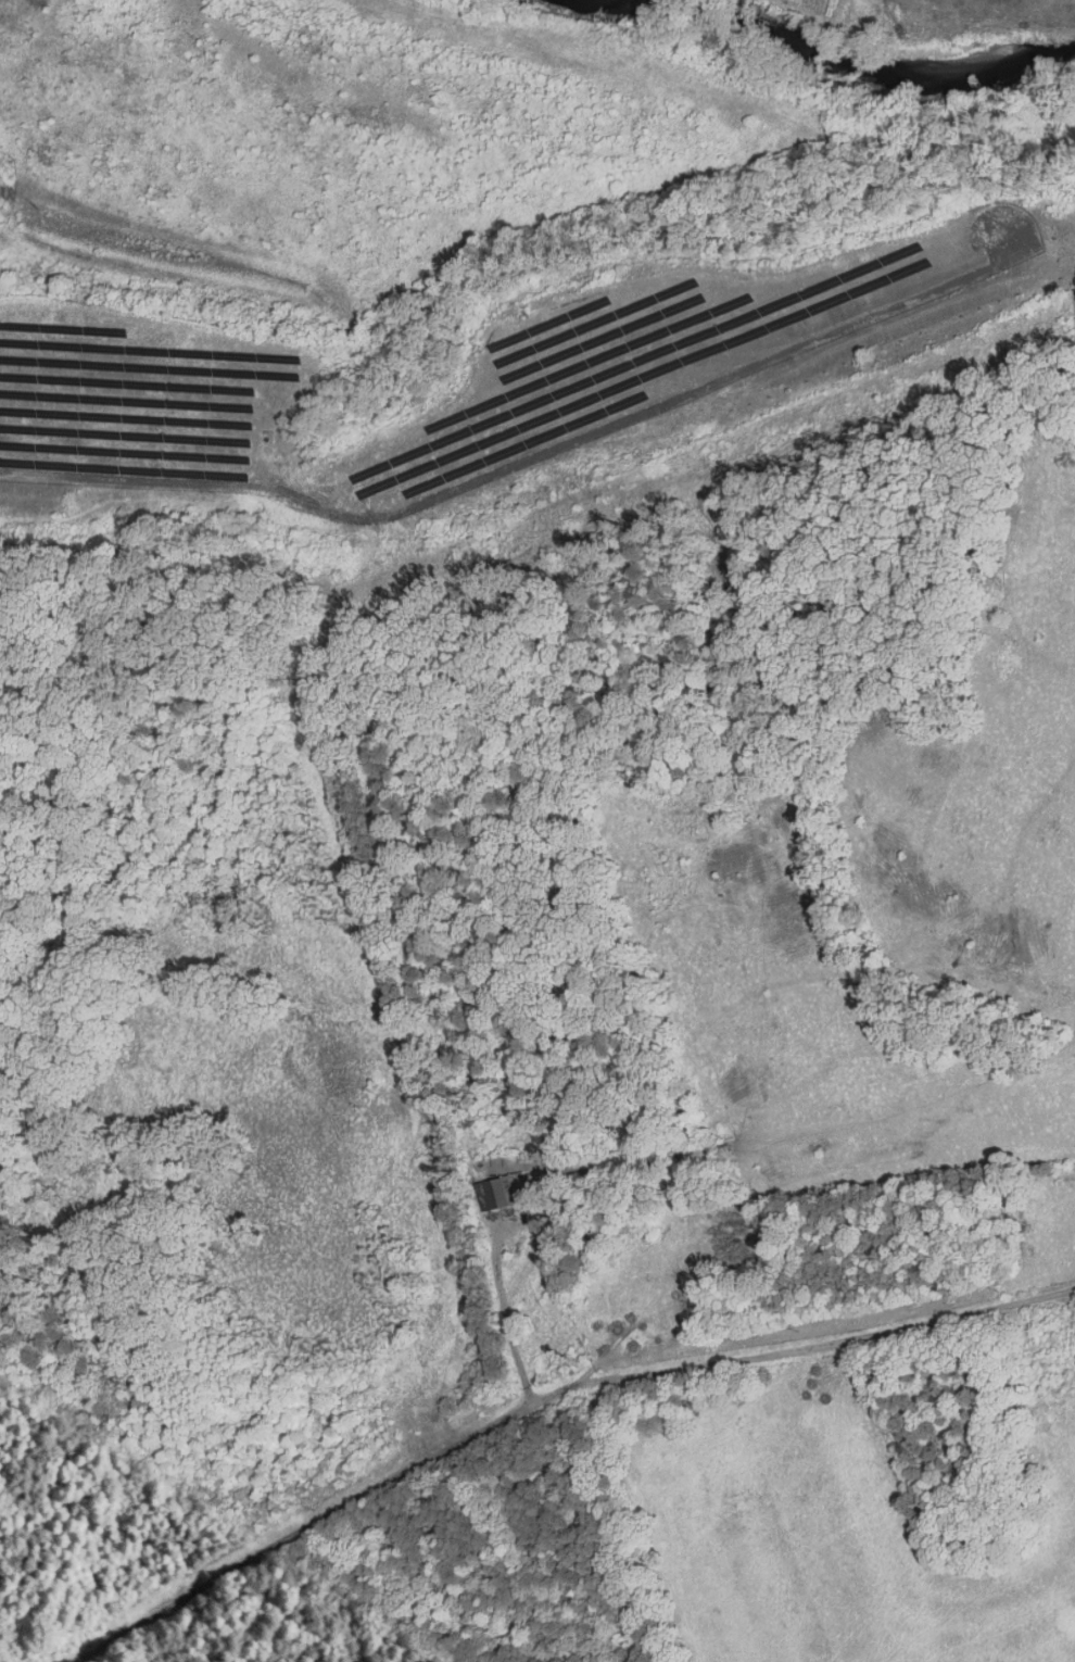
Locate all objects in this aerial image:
road: (819, 16)
building: (501, 1191)

